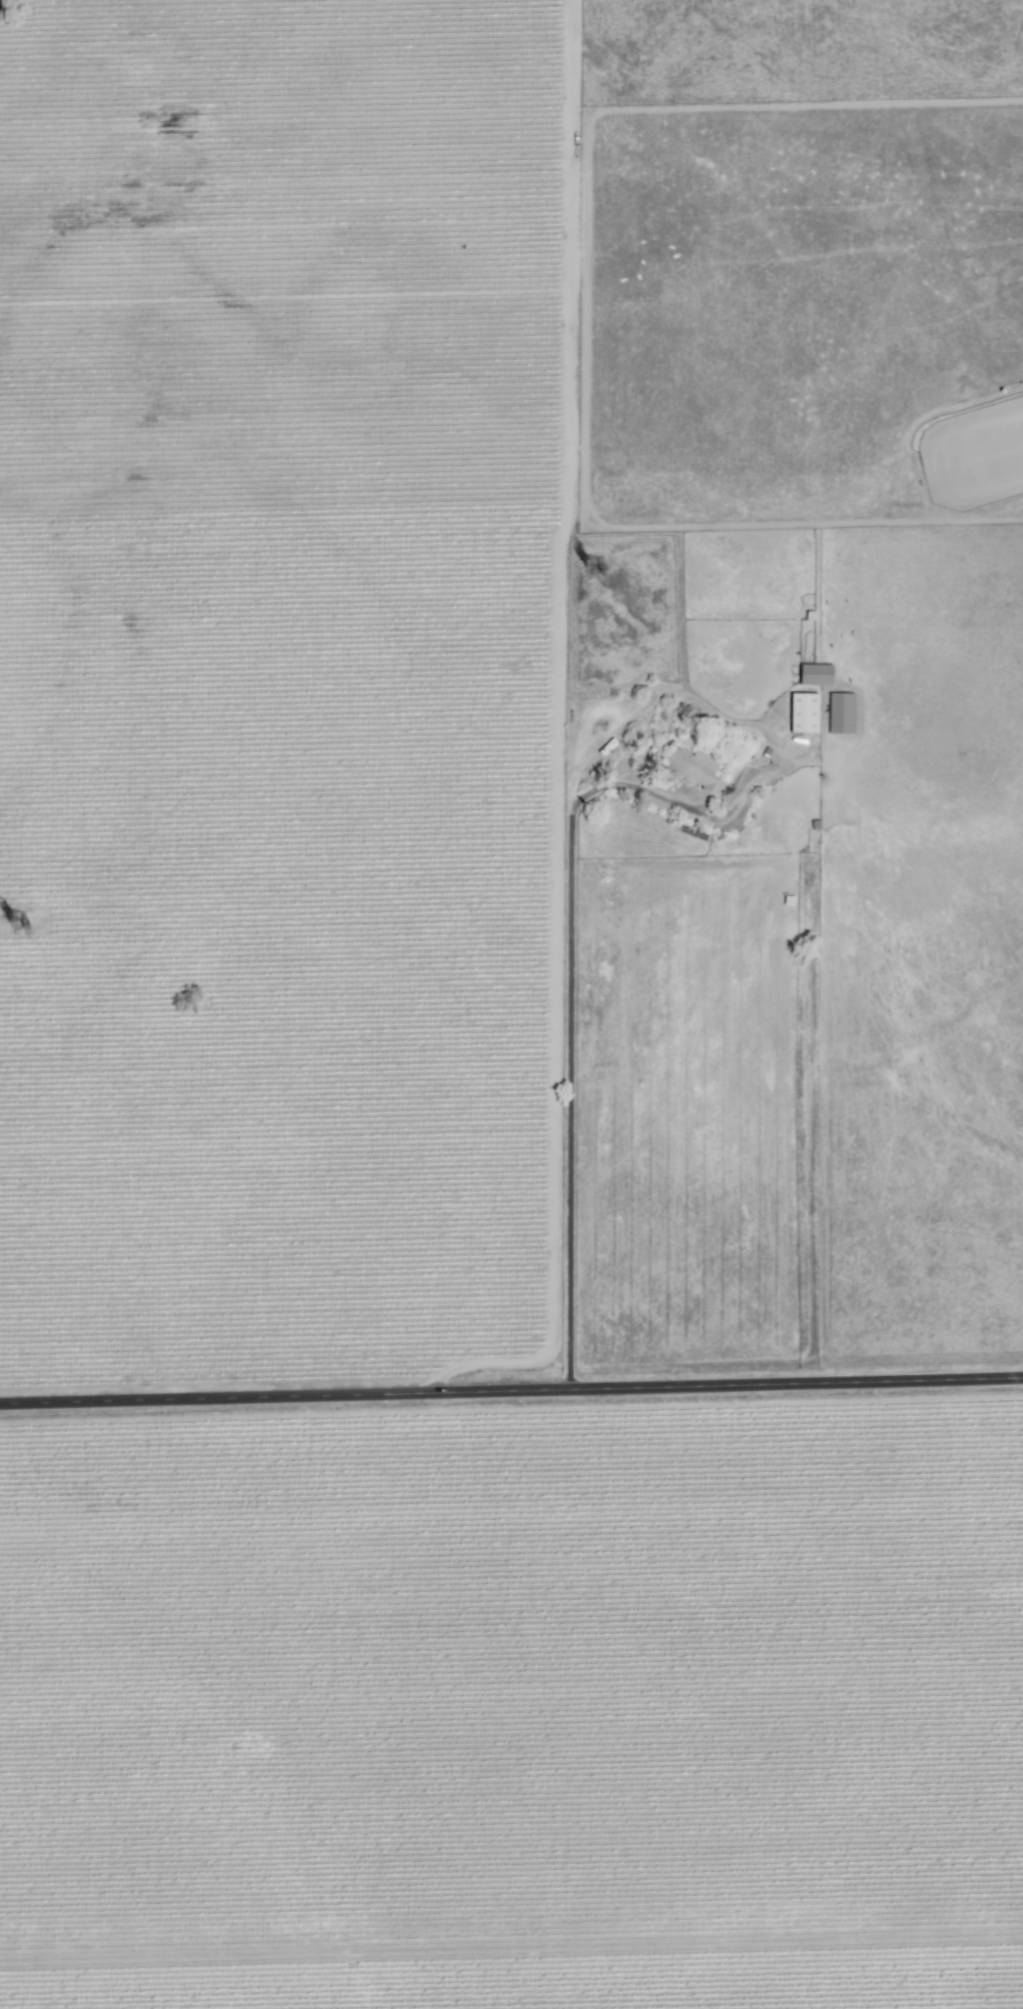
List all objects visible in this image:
power tower: (592, 568)
building: (814, 673)
building: (802, 711)
building: (840, 711)
building: (692, 767)
power tower: (25, 922)
road: (573, 1045)
road: (511, 1392)

